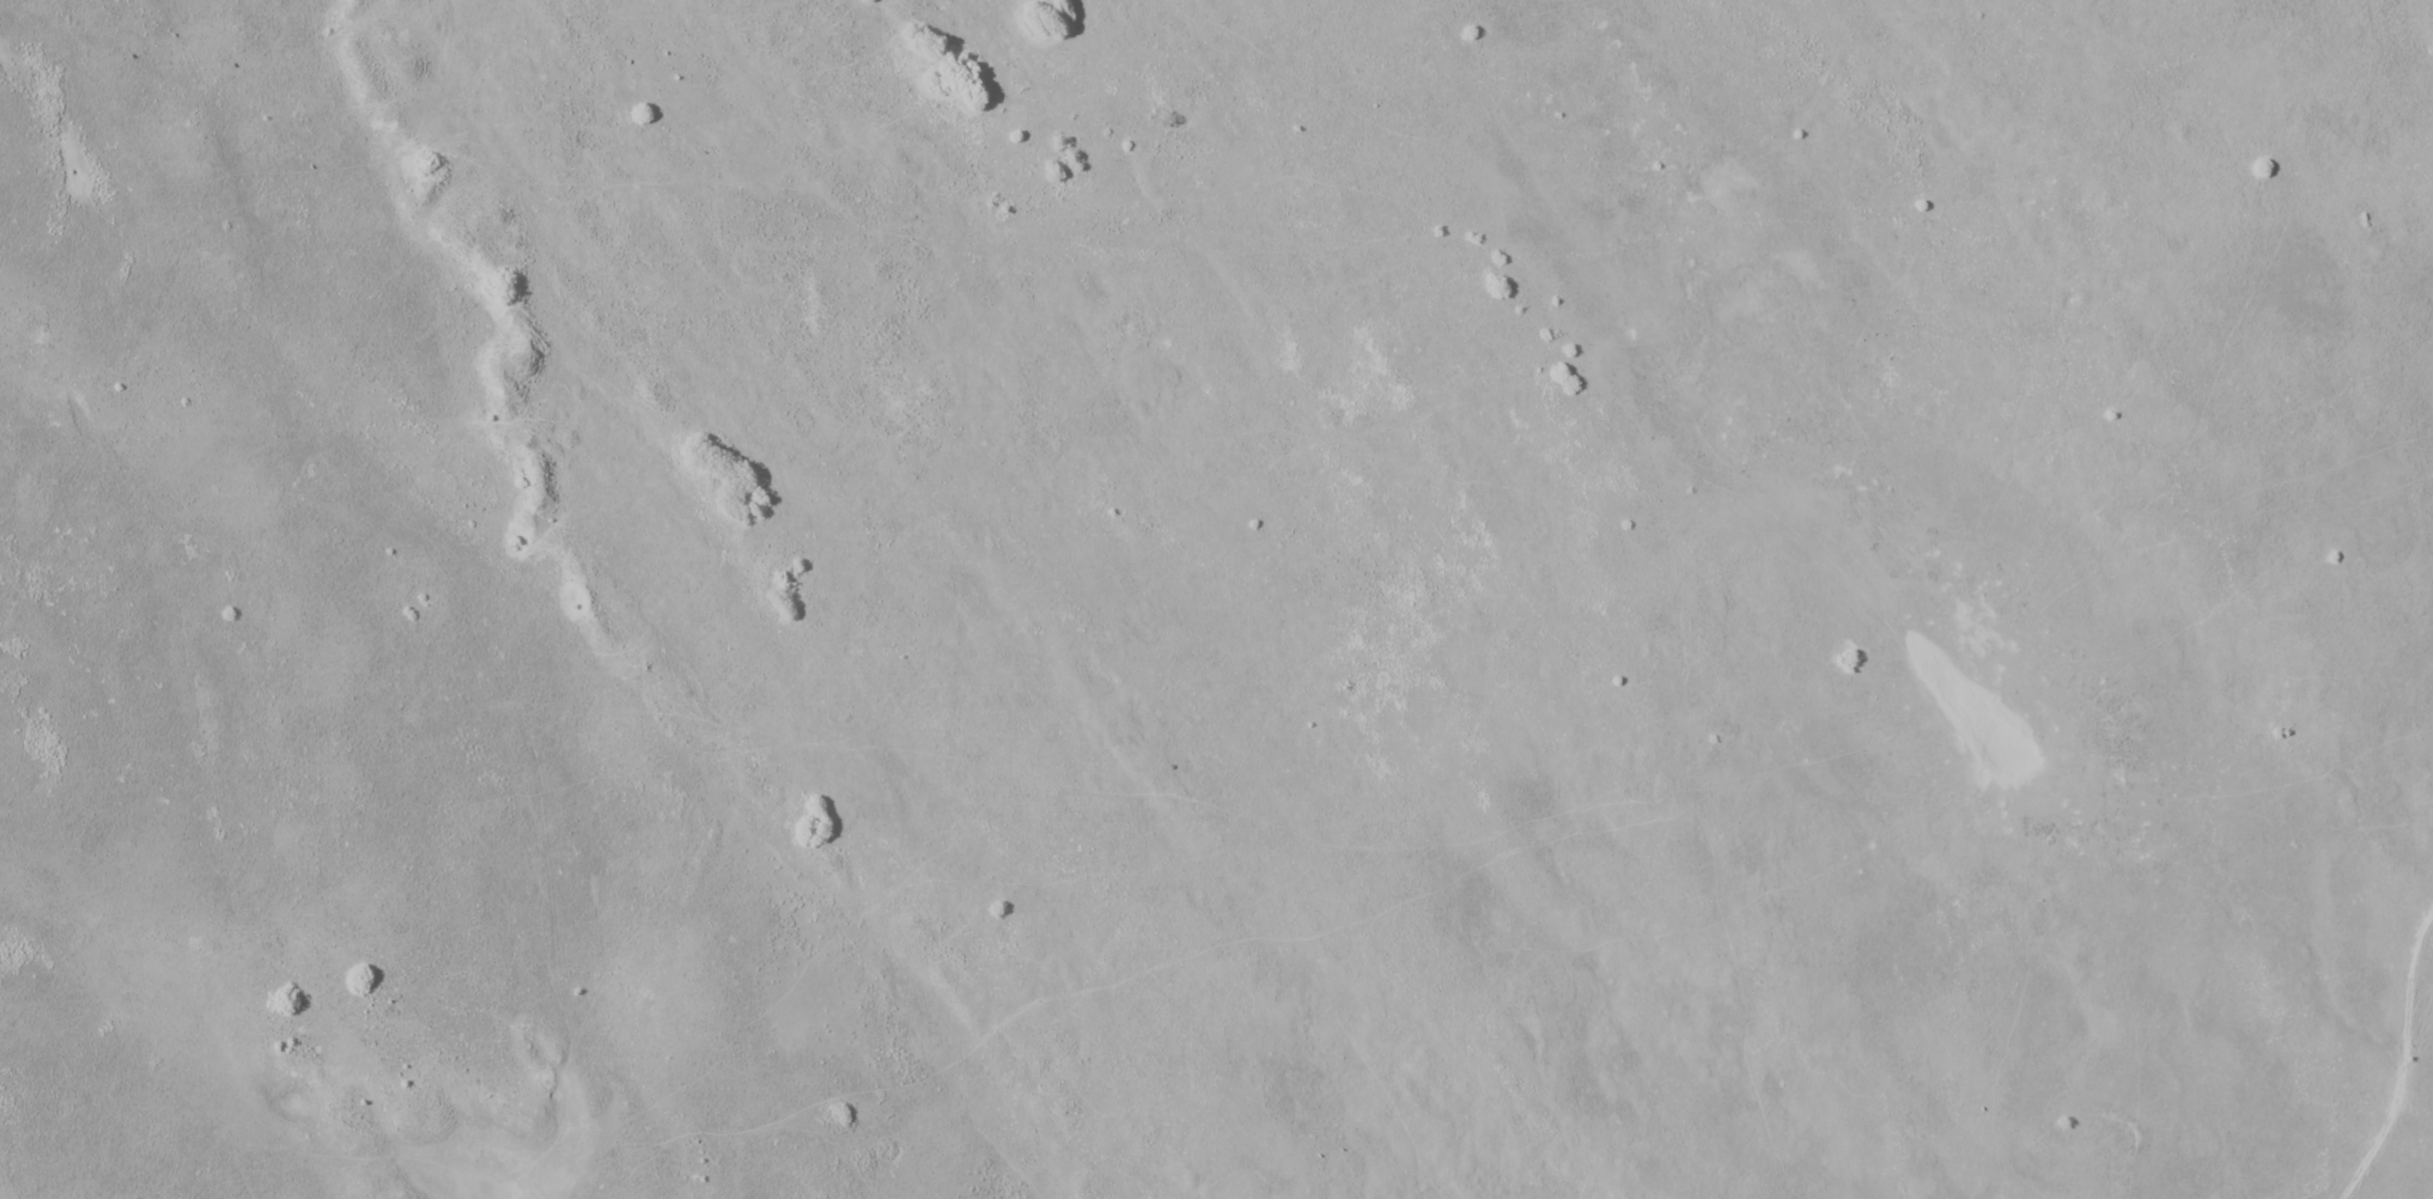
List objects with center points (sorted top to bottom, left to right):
road: (724, 621)

